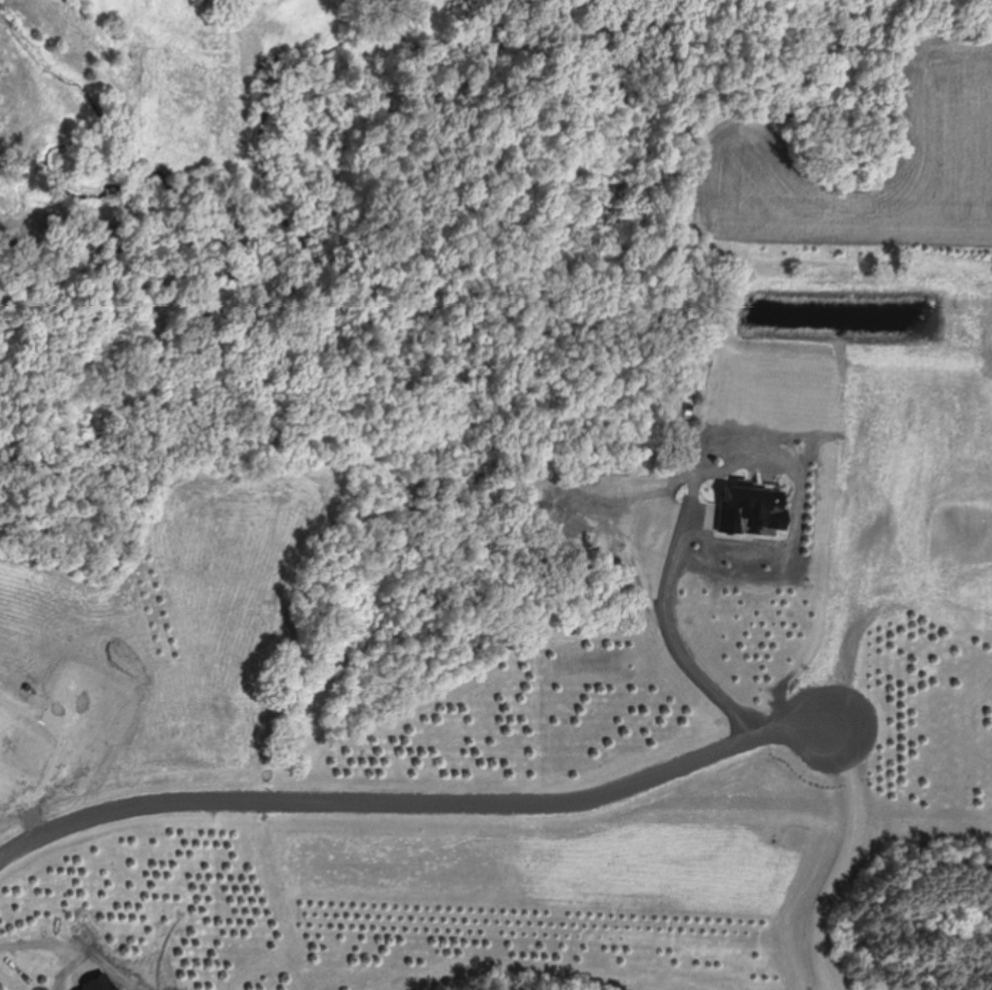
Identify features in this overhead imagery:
road: (673, 645)
road: (421, 802)
road: (843, 865)

